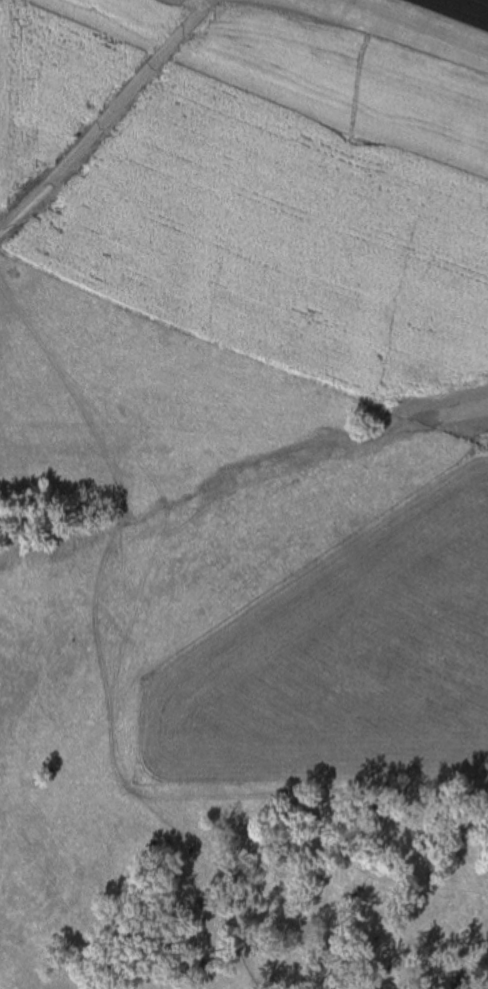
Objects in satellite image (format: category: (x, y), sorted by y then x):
airport runway: (478, 3)
airport: (264, 187)

